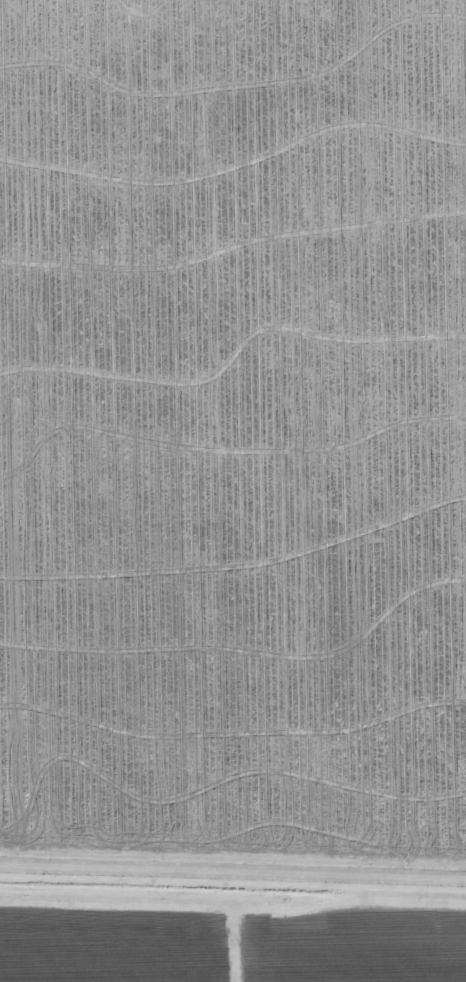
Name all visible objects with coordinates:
road: (233, 872)
road: (233, 899)

